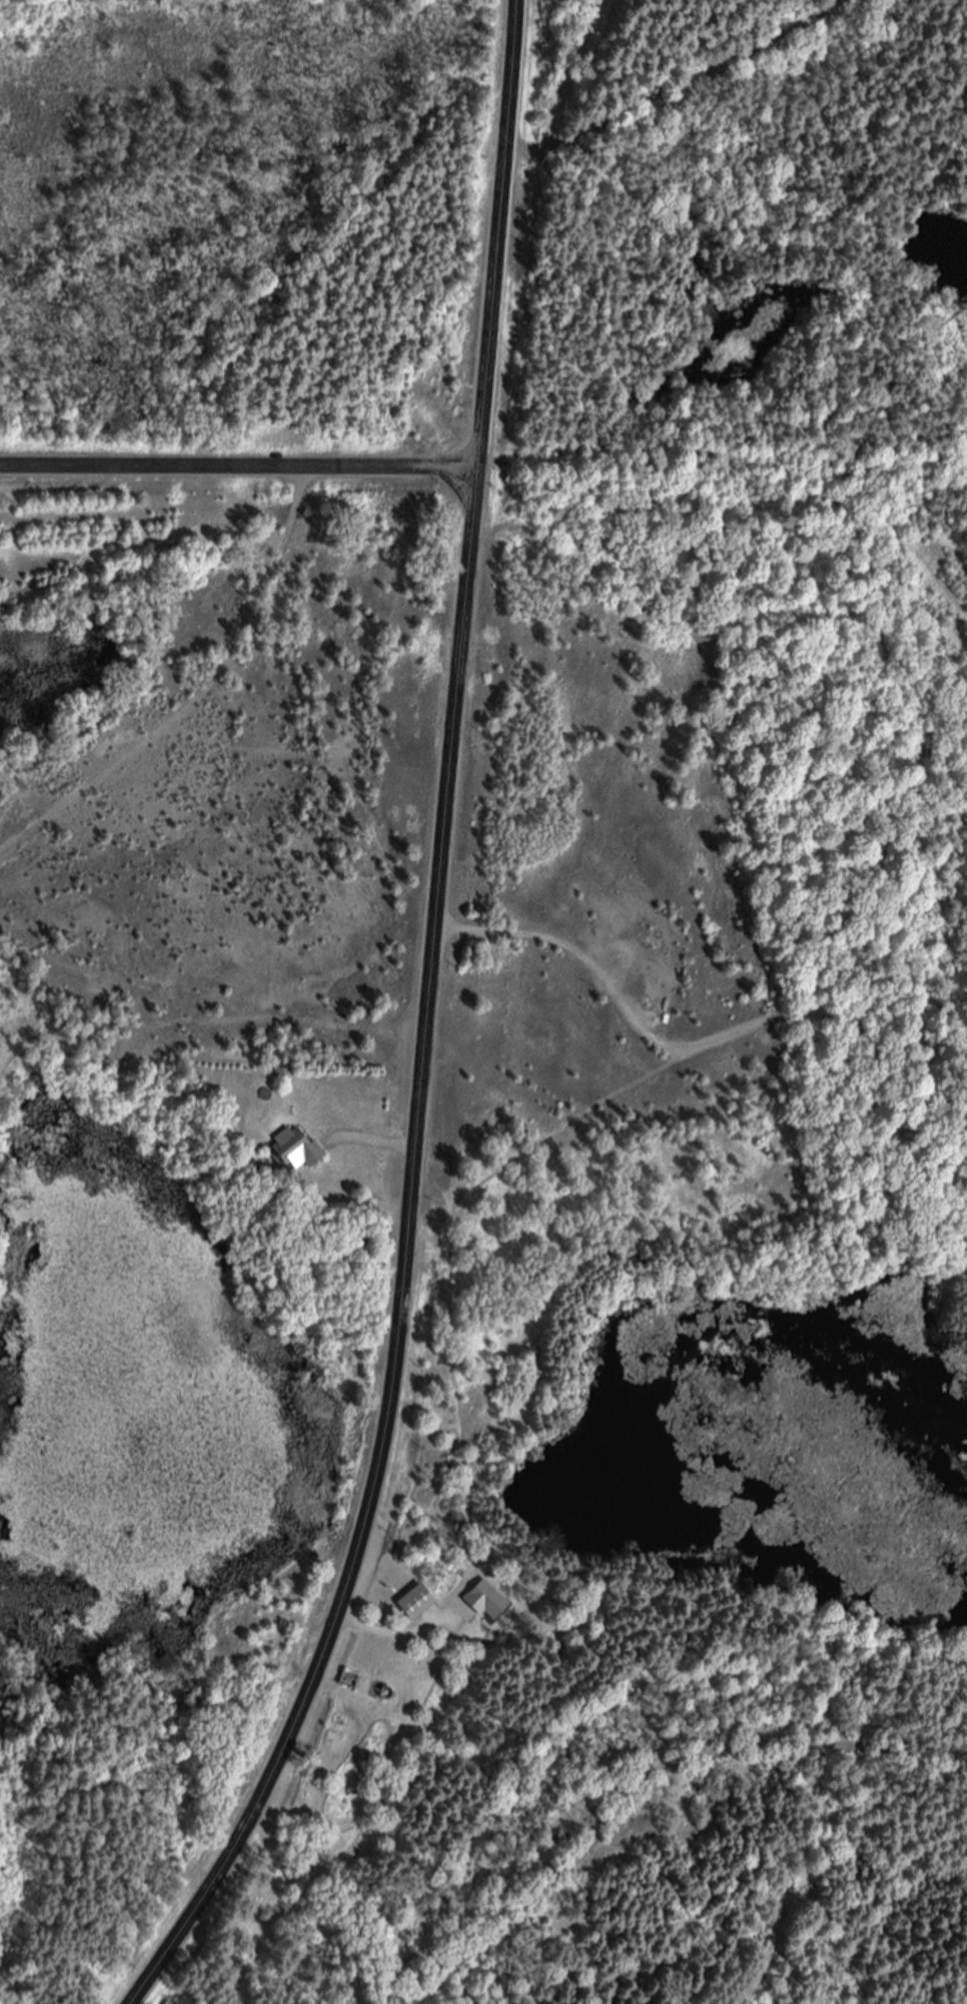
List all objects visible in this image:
road: (238, 467)
road: (422, 1031)
road: (704, 1043)
road: (376, 1142)
building: (297, 1153)
building: (416, 1603)
road: (390, 1633)

